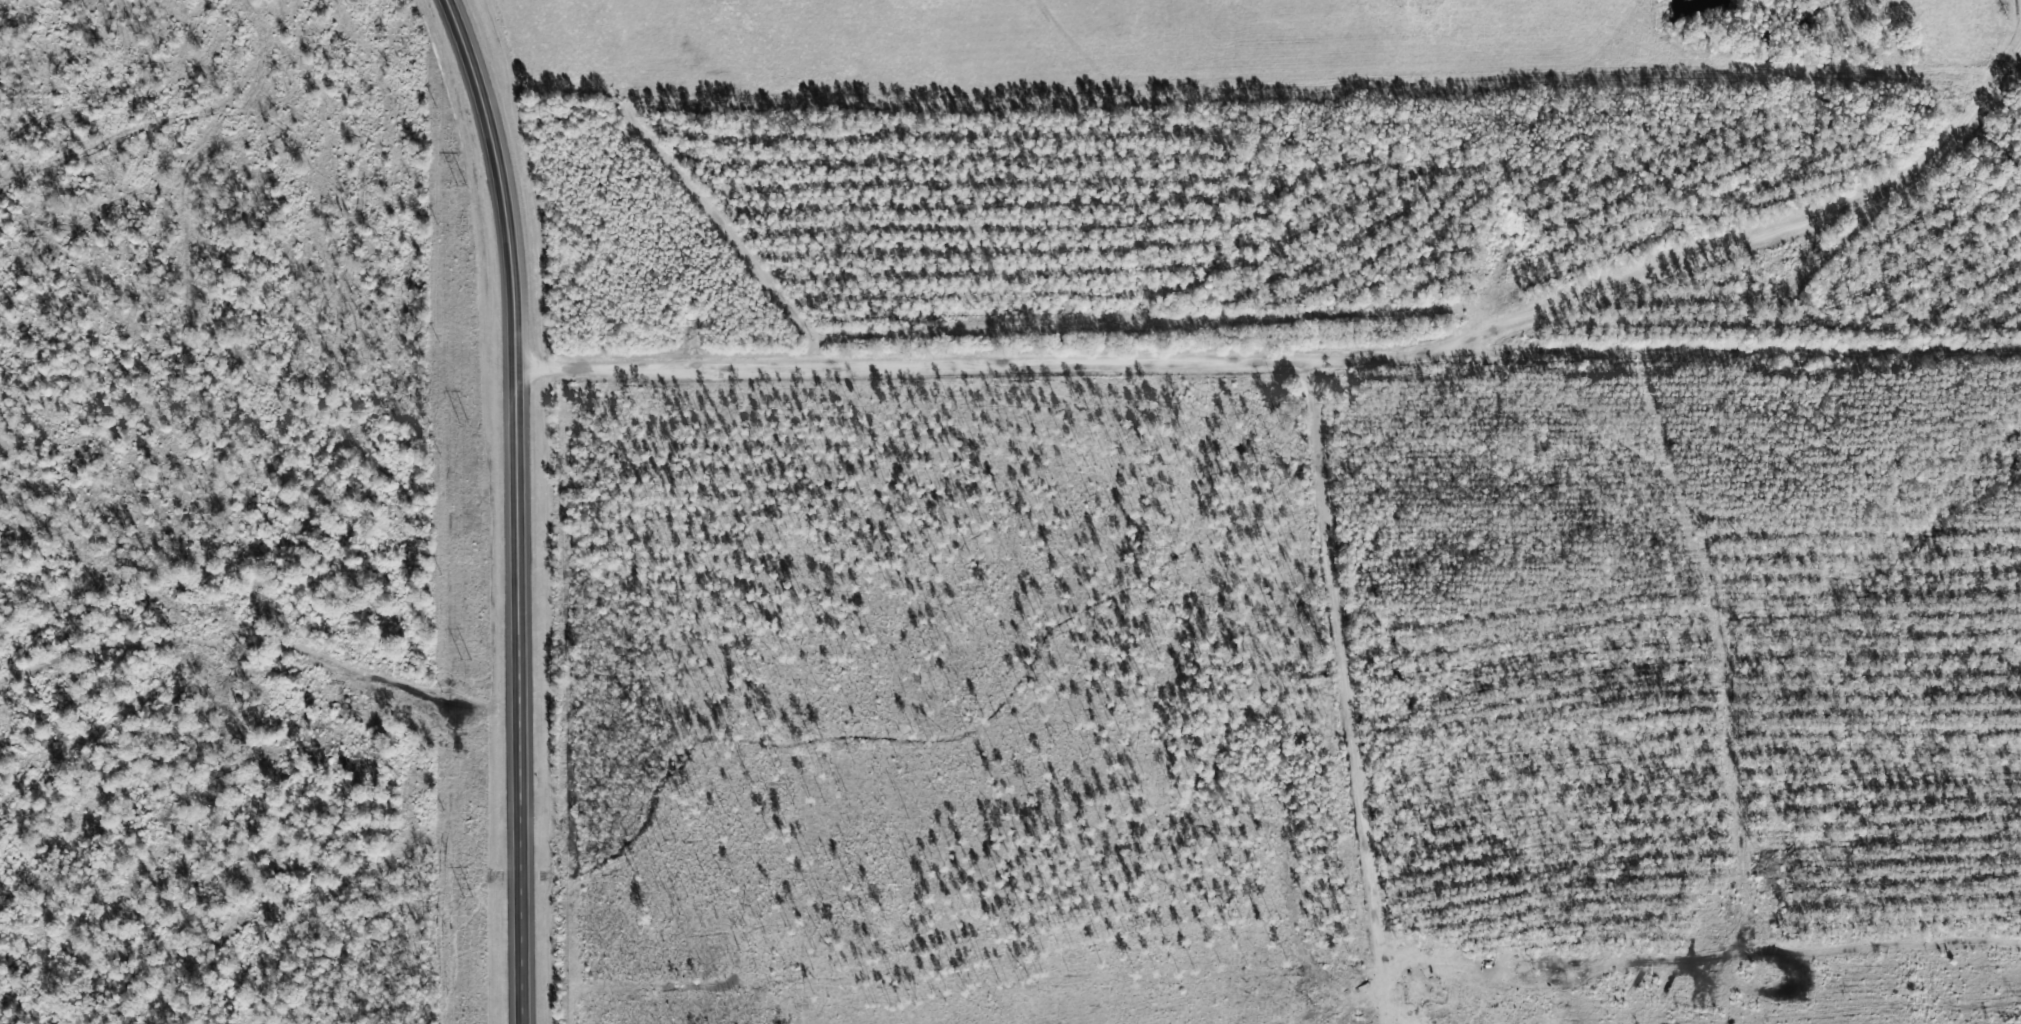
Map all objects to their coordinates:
road: (1787, 331)
road: (1321, 338)
road: (514, 507)

